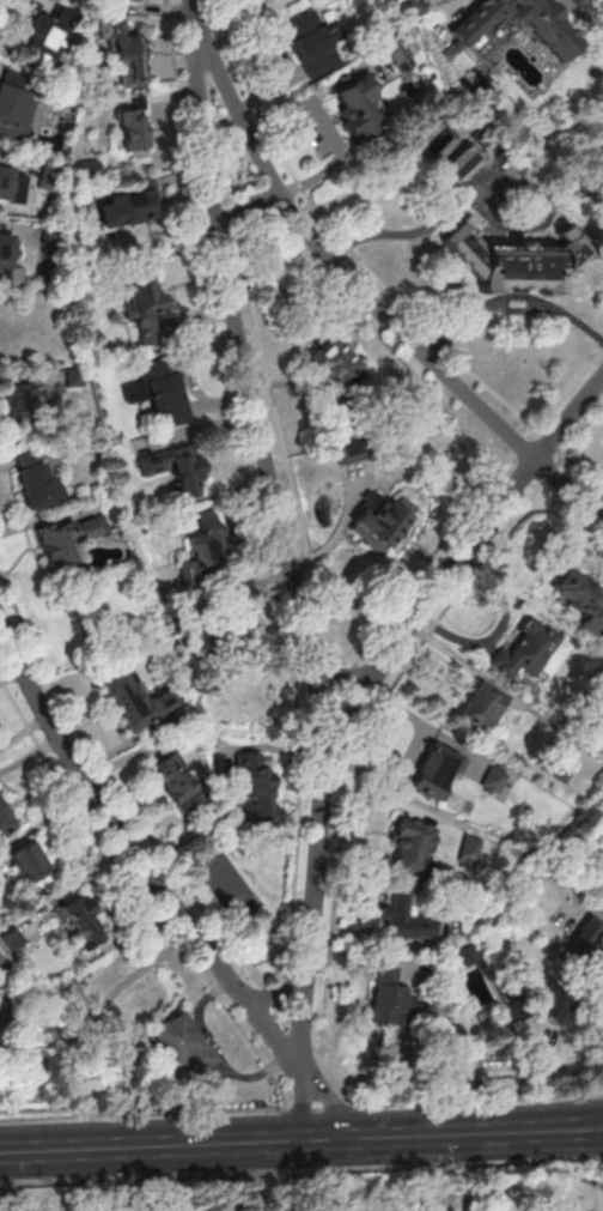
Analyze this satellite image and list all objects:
building: (522, 24)
building: (42, 36)
building: (315, 44)
building: (132, 60)
building: (358, 109)
building: (16, 111)
building: (133, 131)
building: (461, 164)
building: (85, 170)
building: (48, 176)
building: (12, 184)
road: (240, 205)
building: (126, 207)
building: (6, 253)
building: (513, 260)
road: (355, 290)
building: (145, 307)
building: (330, 362)
building: (160, 393)
building: (18, 404)
building: (177, 468)
building: (36, 482)
road: (592, 495)
building: (377, 522)
road: (279, 531)
building: (206, 540)
building: (68, 541)
road: (453, 567)
building: (578, 595)
building: (531, 650)
road: (340, 673)
building: (136, 701)
building: (482, 706)
building: (434, 769)
building: (172, 777)
building: (492, 781)
building: (254, 788)
building: (5, 824)
building: (412, 844)
building: (464, 847)
road: (134, 856)
building: (28, 865)
road: (140, 895)
building: (402, 916)
building: (81, 921)
building: (13, 940)
building: (1, 976)
building: (385, 997)
road: (273, 998)
building: (553, 1010)
road: (75, 1042)
building: (181, 1047)
road: (329, 1097)
road: (303, 1102)
road: (480, 1102)
road: (321, 1108)
road: (141, 1110)
road: (485, 1133)
road: (182, 1145)
road: (301, 1174)

